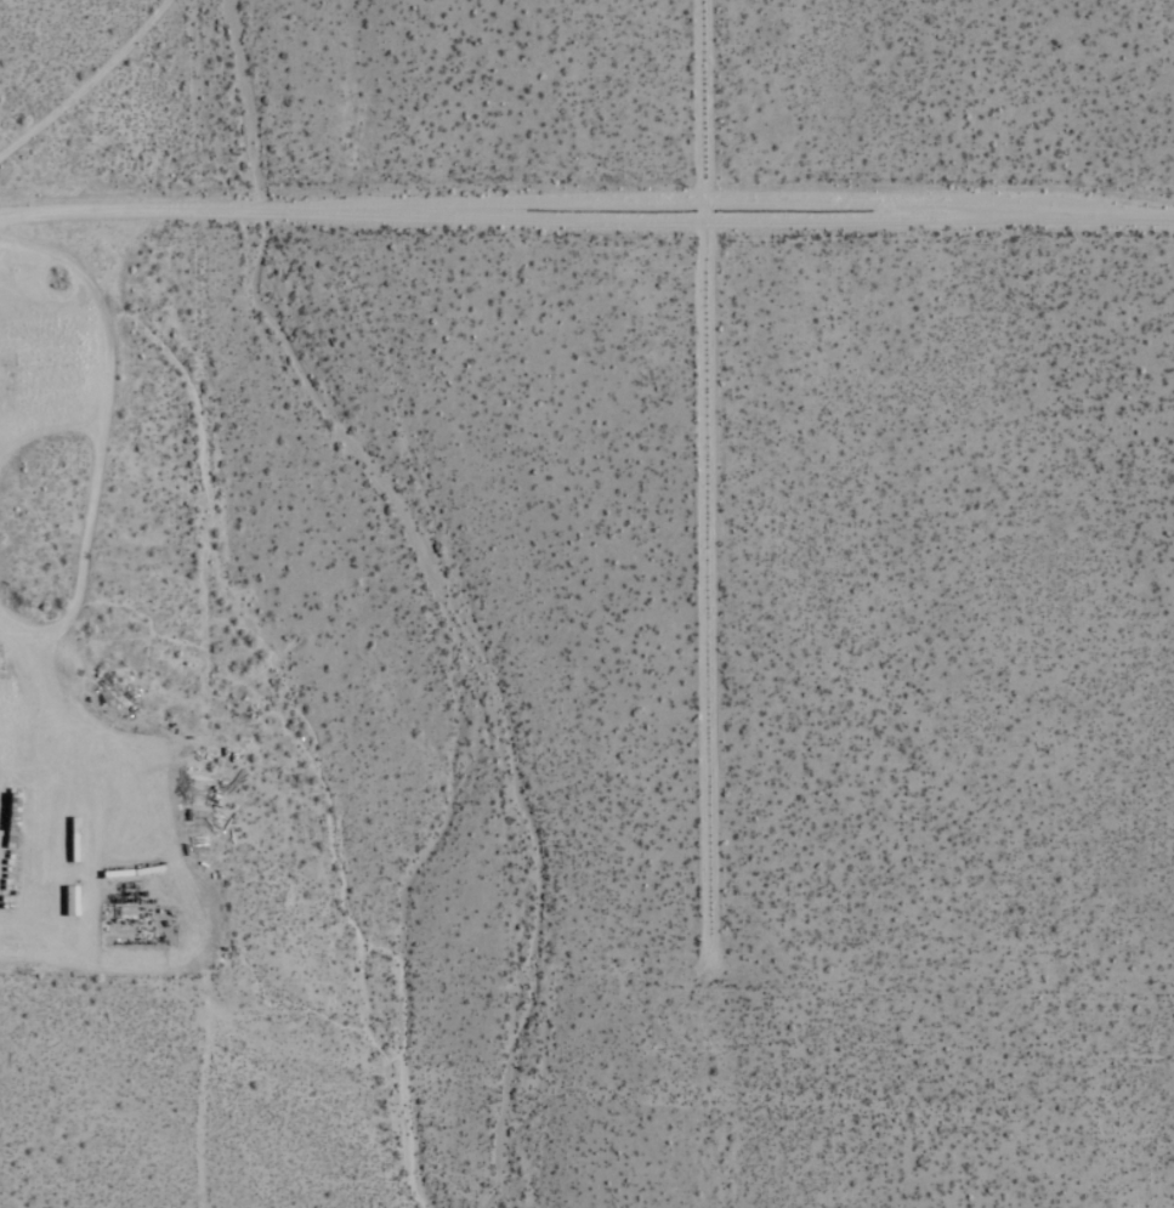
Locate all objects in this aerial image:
road: (86, 76)
road: (586, 211)
road: (711, 467)

